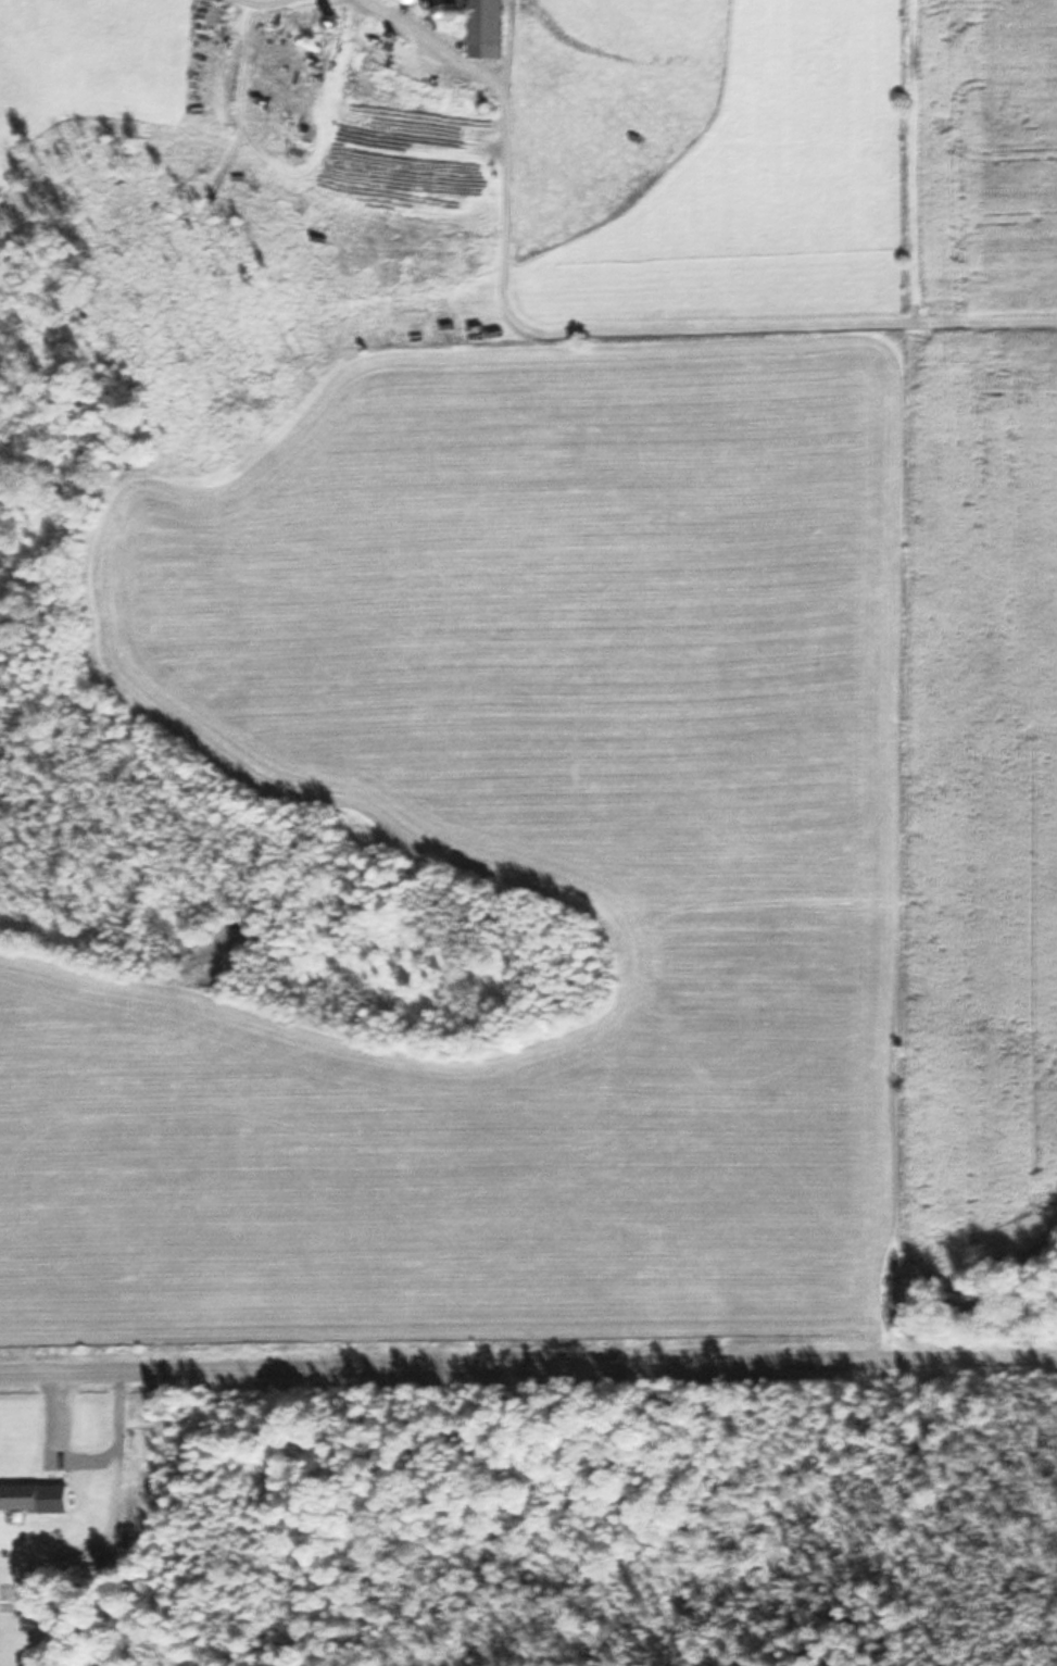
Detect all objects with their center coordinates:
road: (261, 1)
building: (481, 25)
road: (583, 334)
road: (528, 1362)

